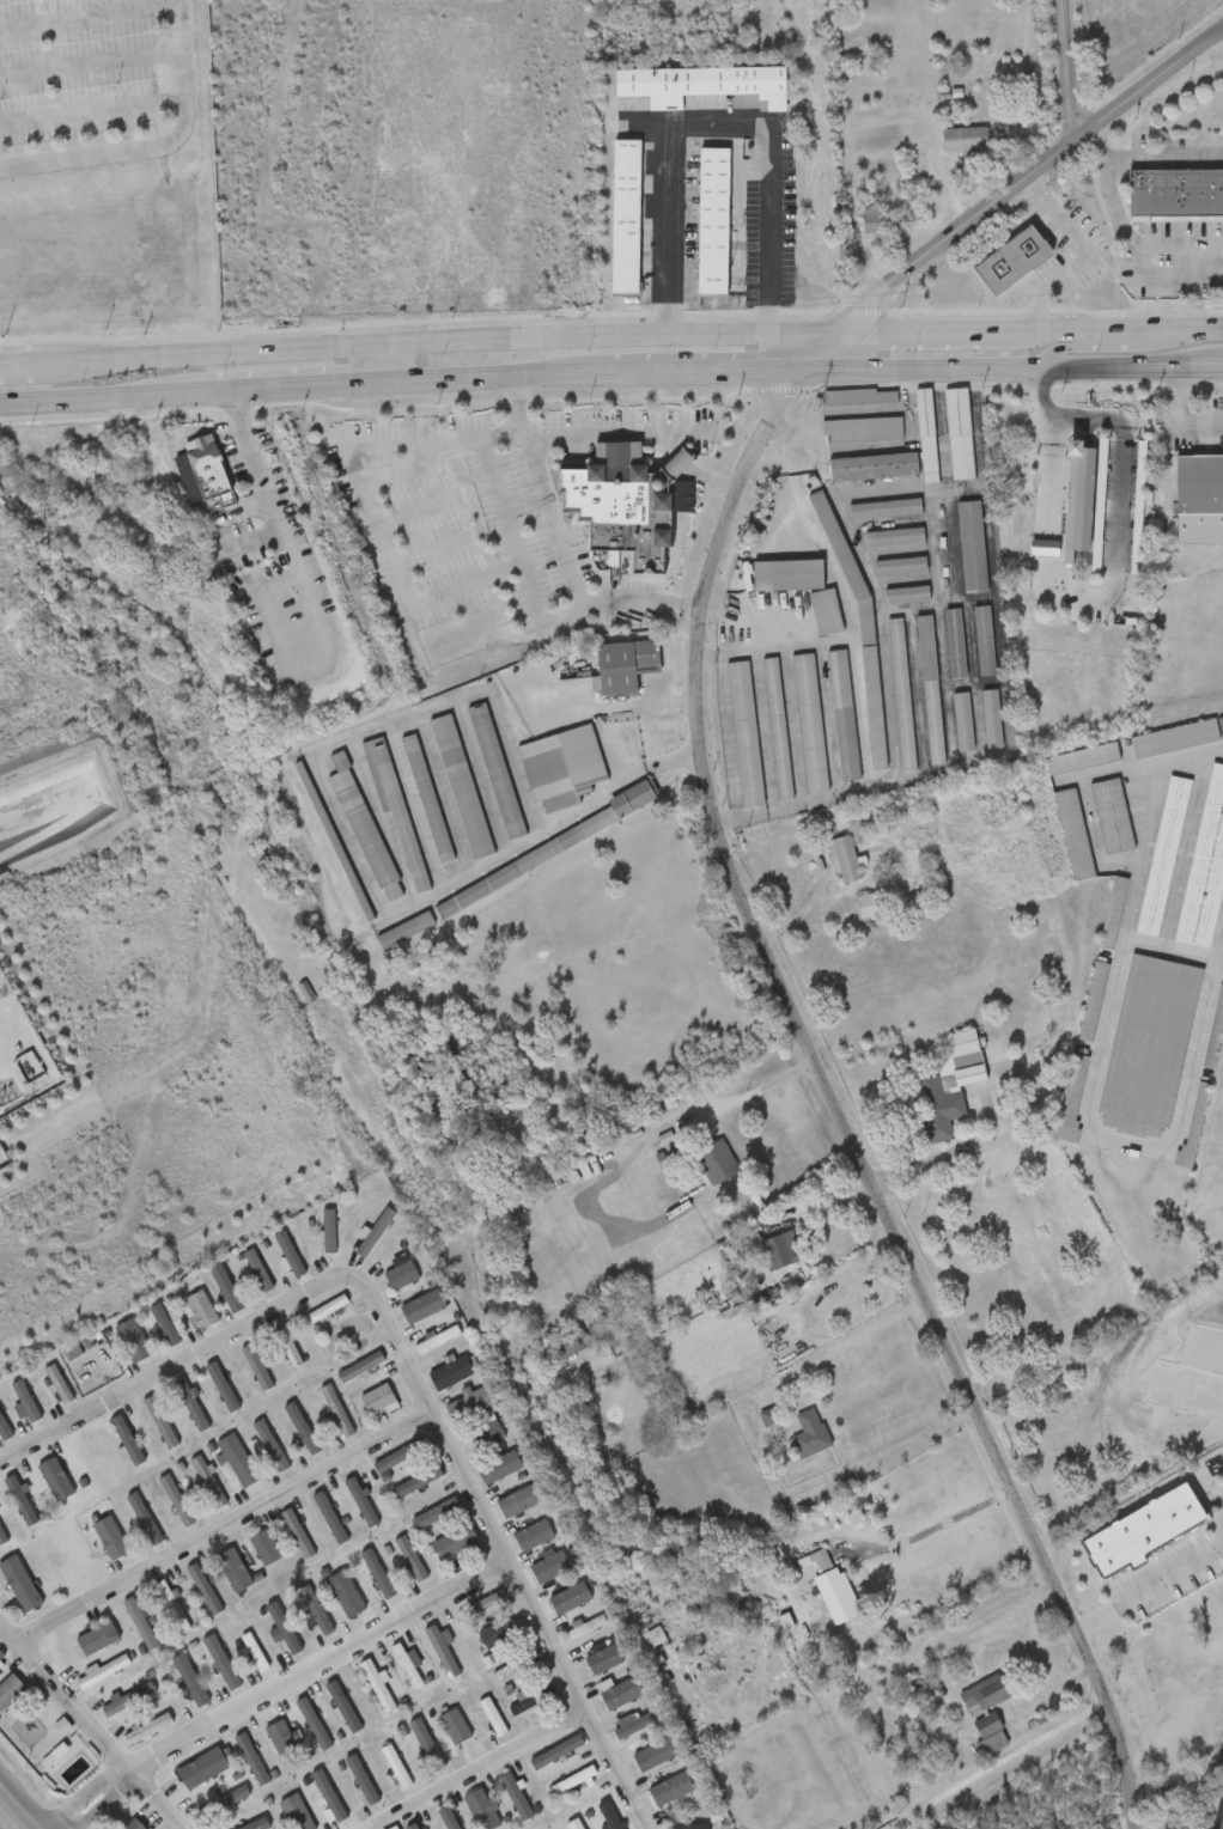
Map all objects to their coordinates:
road: (91, 17)
road: (92, 65)
road: (1067, 72)
building: (704, 84)
road: (93, 111)
road: (713, 126)
building: (963, 141)
road: (158, 146)
road: (1164, 154)
building: (1142, 191)
building: (1172, 191)
building: (1156, 193)
building: (1186, 193)
building: (1201, 193)
building: (1216, 193)
building: (625, 218)
building: (712, 221)
building: (871, 224)
road: (1124, 231)
road: (1090, 257)
building: (1012, 261)
road: (799, 328)
road: (189, 347)
road: (771, 348)
road: (1065, 349)
road: (378, 359)
road: (692, 370)
road: (997, 370)
road: (495, 372)
road: (286, 384)
road: (97, 396)
building: (859, 397)
road: (1182, 410)
building: (862, 431)
road: (600, 435)
building: (926, 435)
building: (959, 435)
road: (260, 464)
road: (681, 464)
building: (206, 467)
building: (872, 468)
road: (1121, 476)
road: (712, 478)
road: (1048, 480)
building: (1200, 500)
building: (619, 504)
building: (884, 510)
road: (375, 519)
building: (1076, 524)
building: (894, 538)
building: (971, 548)
building: (1043, 549)
road: (1046, 549)
road: (518, 561)
building: (899, 567)
building: (786, 577)
road: (1045, 578)
building: (906, 596)
building: (825, 614)
building: (984, 642)
building: (955, 645)
building: (623, 666)
building: (930, 691)
building: (901, 696)
building: (871, 697)
road: (606, 707)
building: (842, 717)
building: (991, 720)
building: (961, 723)
building: (809, 725)
building: (777, 730)
building: (744, 734)
building: (1175, 739)
building: (1083, 760)
road: (1180, 760)
building: (561, 768)
building: (495, 773)
building: (461, 787)
building: (426, 799)
building: (393, 804)
building: (49, 807)
building: (1113, 817)
road: (547, 827)
building: (364, 830)
building: (1076, 836)
building: (550, 848)
road: (730, 858)
building: (1164, 858)
building: (842, 860)
building: (1206, 873)
building: (866, 907)
building: (1114, 913)
building: (404, 931)
building: (1095, 1002)
building: (1215, 1035)
building: (1150, 1047)
building: (950, 1085)
road: (748, 1096)
building: (1073, 1102)
road: (1006, 1124)
building: (1194, 1129)
building: (716, 1164)
building: (328, 1232)
building: (376, 1233)
building: (288, 1256)
building: (256, 1272)
building: (401, 1276)
building: (230, 1290)
building: (421, 1307)
building: (327, 1309)
building: (199, 1311)
building: (164, 1327)
building: (346, 1331)
building: (436, 1341)
building: (568, 1343)
building: (135, 1346)
road: (850, 1346)
building: (287, 1348)
building: (71, 1354)
road: (183, 1365)
building: (360, 1367)
building: (255, 1368)
building: (450, 1374)
building: (59, 1385)
building: (223, 1392)
building: (24, 1402)
building: (378, 1402)
building: (469, 1404)
building: (189, 1406)
building: (335, 1412)
building: (159, 1422)
building: (302, 1431)
building: (4, 1432)
building: (485, 1435)
building: (809, 1435)
building: (127, 1443)
building: (269, 1446)
building: (237, 1462)
building: (55, 1481)
building: (208, 1483)
building: (419, 1483)
building: (20, 1499)
building: (175, 1501)
building: (361, 1501)
building: (519, 1502)
building: (434, 1516)
building: (329, 1519)
building: (146, 1523)
road: (931, 1529)
road: (225, 1530)
building: (296, 1535)
building: (533, 1537)
building: (110, 1540)
building: (1, 1541)
building: (454, 1543)
building: (264, 1549)
building: (409, 1560)
road: (507, 1560)
building: (549, 1568)
building: (233, 1572)
building: (377, 1575)
building: (19, 1585)
building: (203, 1590)
building: (829, 1592)
building: (345, 1596)
road: (1151, 1596)
building: (572, 1601)
building: (171, 1608)
building: (480, 1608)
building: (314, 1614)
building: (141, 1624)
building: (282, 1628)
building: (585, 1628)
building: (498, 1634)
building: (96, 1640)
building: (440, 1653)
building: (1, 1657)
building: (603, 1660)
building: (220, 1663)
road: (318, 1668)
building: (406, 1668)
building: (515, 1669)
building: (98, 1675)
building: (189, 1682)
building: (376, 1687)
building: (10, 1691)
building: (614, 1697)
building: (531, 1701)
building: (343, 1706)
building: (985, 1706)
building: (491, 1718)
building: (312, 1724)
building: (632, 1725)
road: (87, 1729)
building: (454, 1729)
building: (147, 1731)
building: (282, 1743)
building: (426, 1748)
building: (556, 1754)
building: (647, 1763)
building: (209, 1764)
road: (998, 1766)
building: (395, 1767)
road: (479, 1772)
building: (572, 1781)
building: (361, 1782)
building: (516, 1794)
building: (330, 1800)
road: (98, 1804)
building: (224, 1804)
road: (18, 1809)
building: (480, 1811)
building: (296, 1813)
building: (607, 1816)
building: (446, 1819)
building: (576, 1824)
building: (133, 1825)
building: (247, 1825)
building: (410, 1827)
building: (690, 1828)

